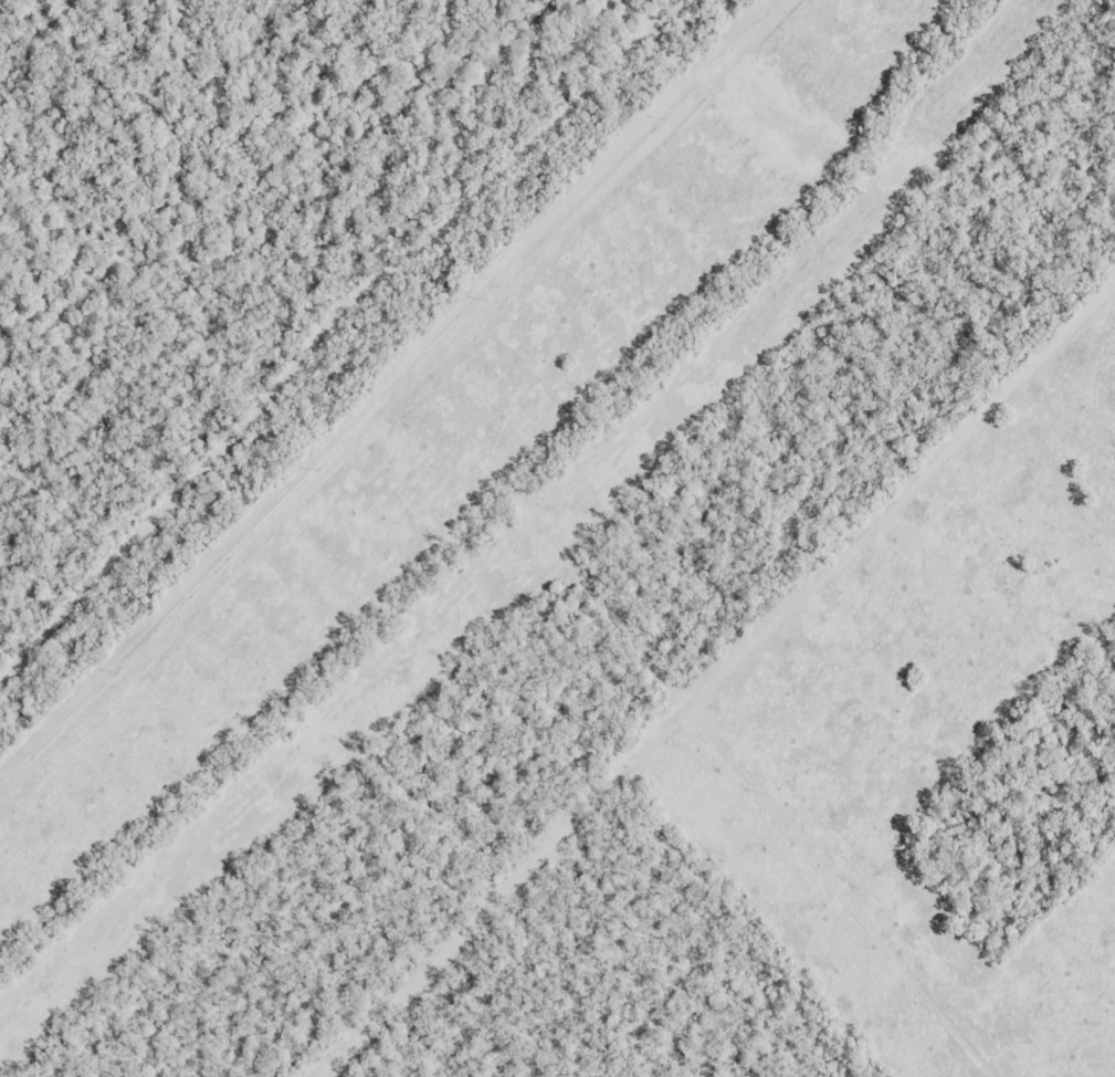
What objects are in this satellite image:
road: (381, 385)
road: (440, 445)

